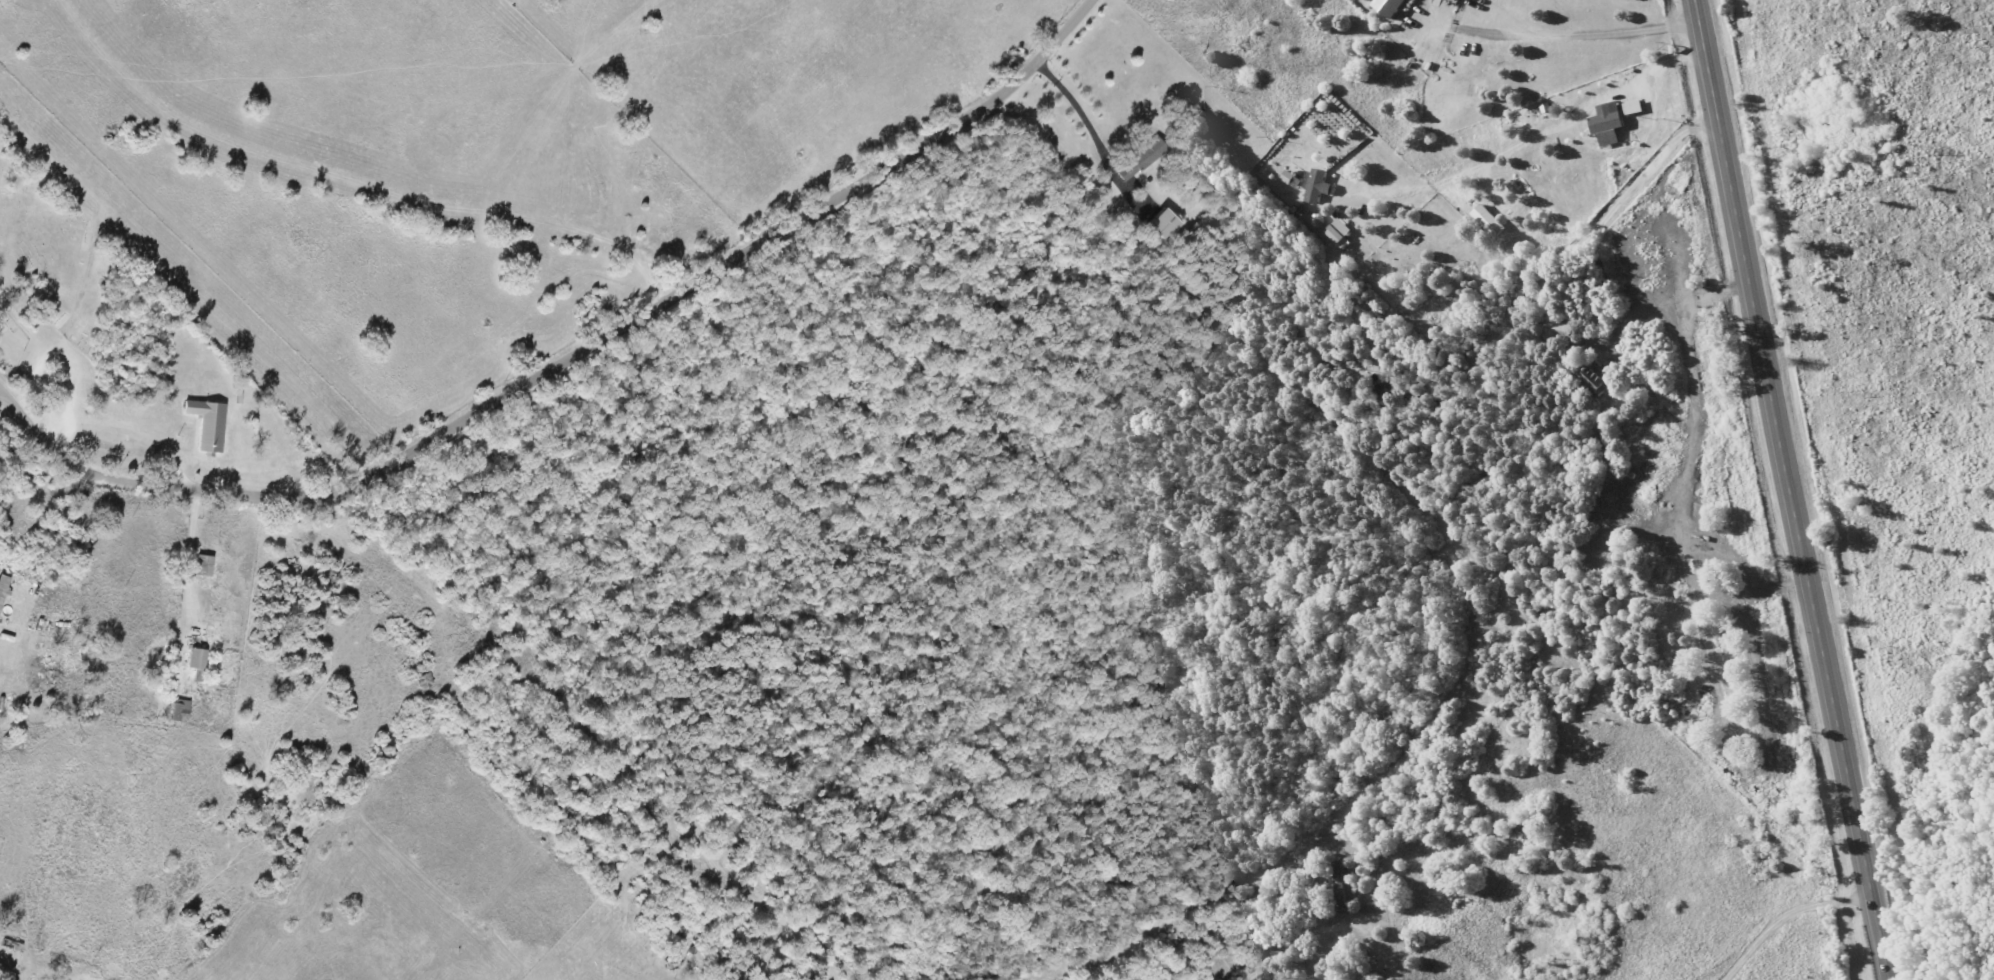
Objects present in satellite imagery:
building: (1389, 7)
road: (1594, 48)
building: (1634, 107)
road: (1081, 118)
building: (1608, 124)
road: (1542, 151)
building: (1141, 160)
building: (1287, 177)
building: (1318, 186)
road: (1623, 204)
building: (1489, 221)
building: (1165, 224)
park: (59, 229)
building: (1338, 233)
building: (1555, 328)
road: (567, 361)
building: (1591, 378)
building: (209, 425)
road: (1788, 490)
road: (192, 558)
building: (3, 587)
building: (197, 663)
building: (180, 710)
road: (1677, 713)
building: (1339, 884)
road: (1782, 915)
road: (1375, 934)
building: (1276, 950)

